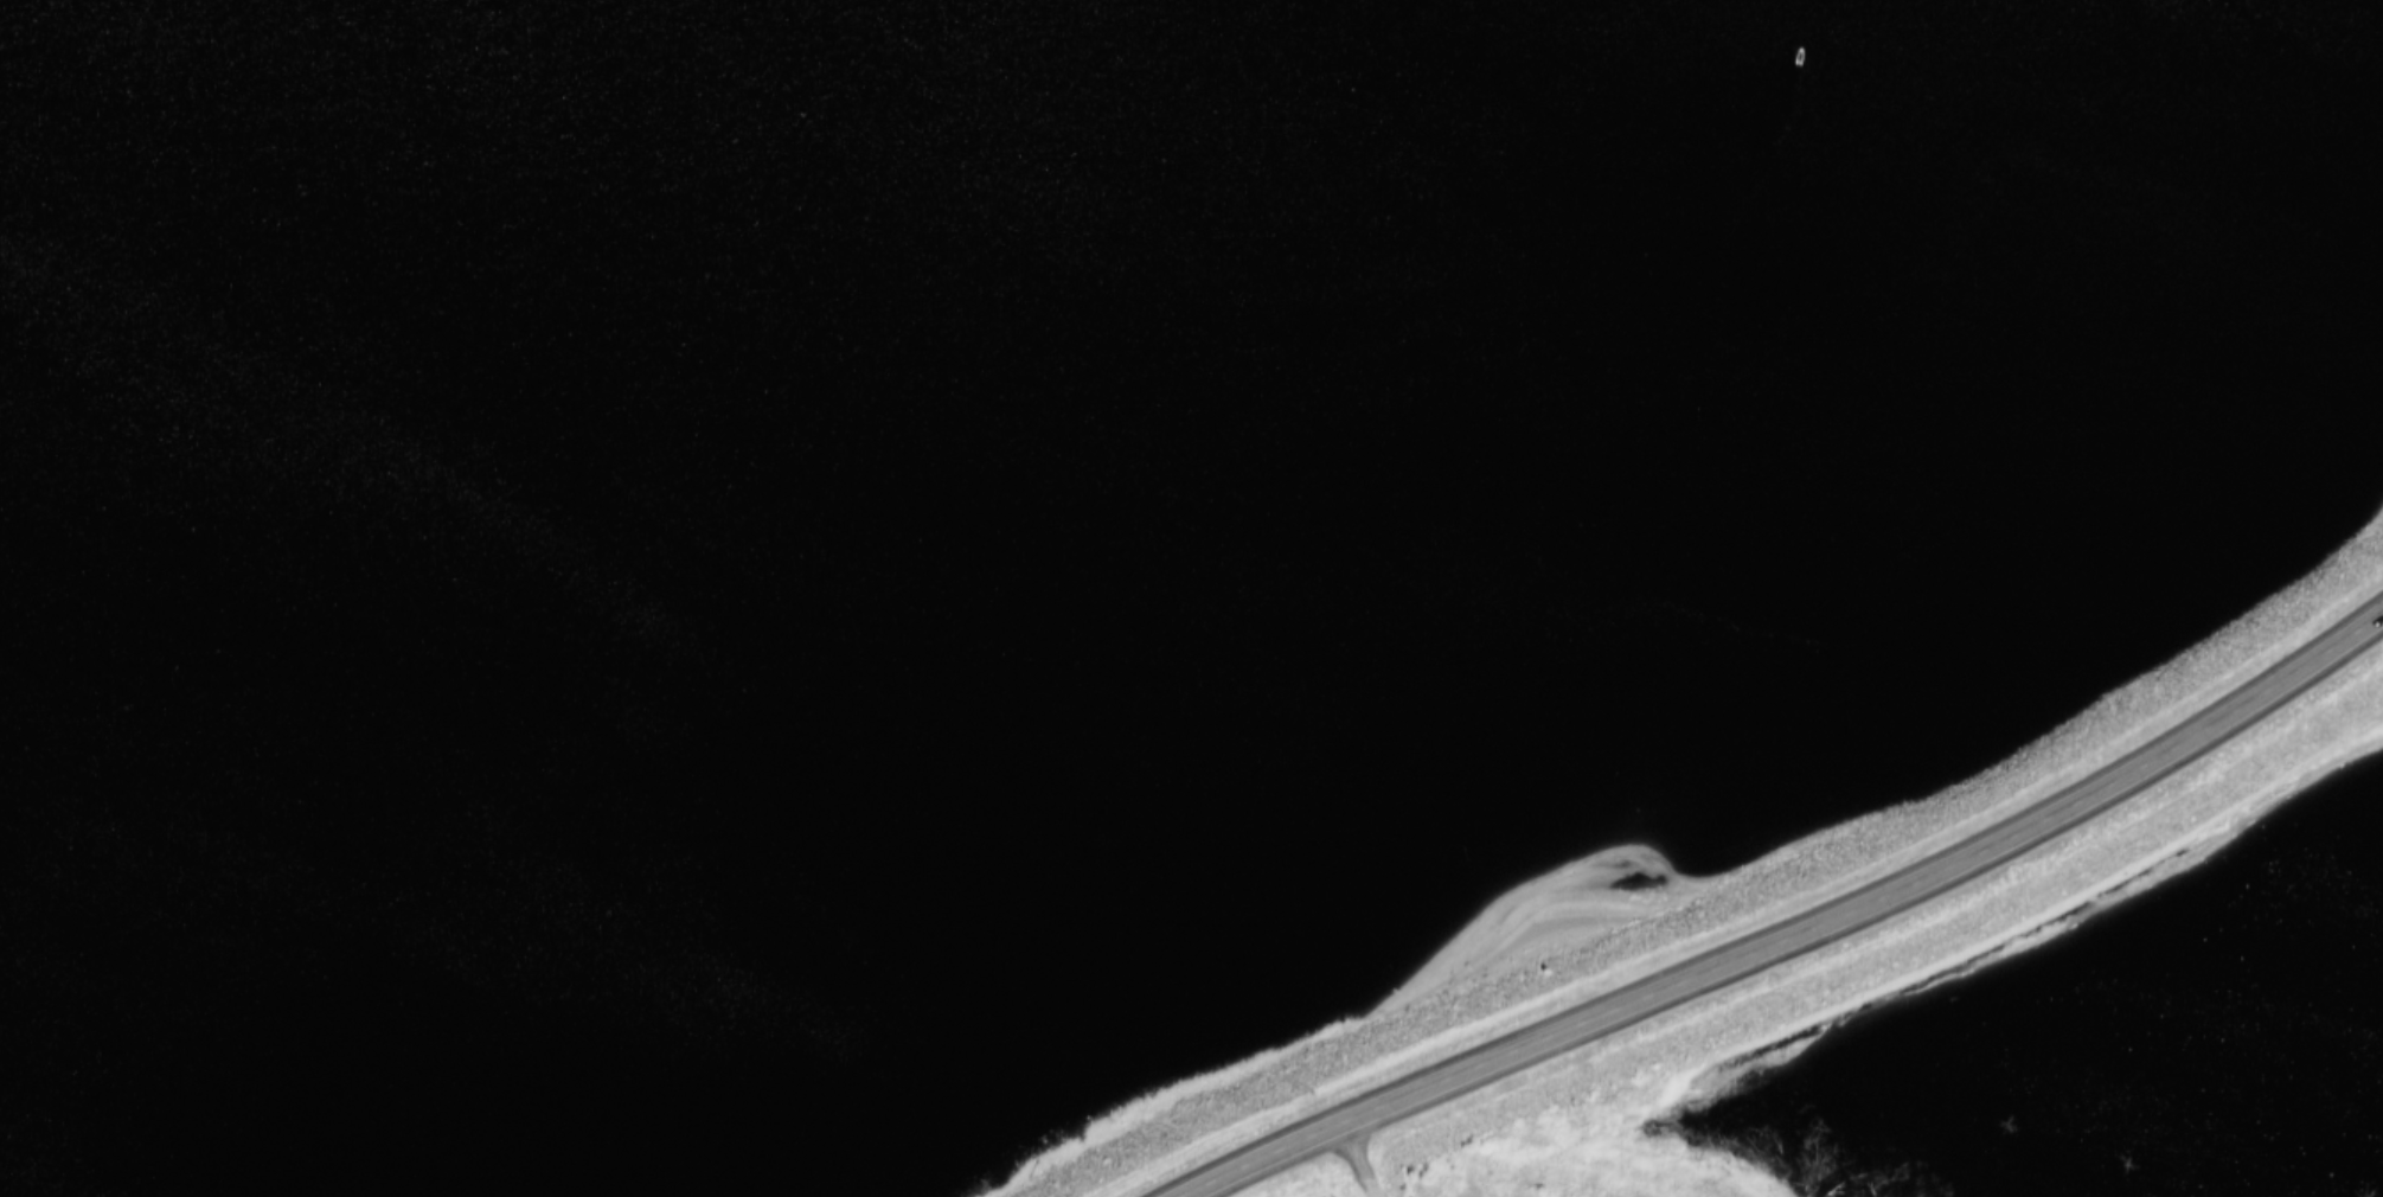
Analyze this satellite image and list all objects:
road: (1738, 930)
road: (1346, 1137)

